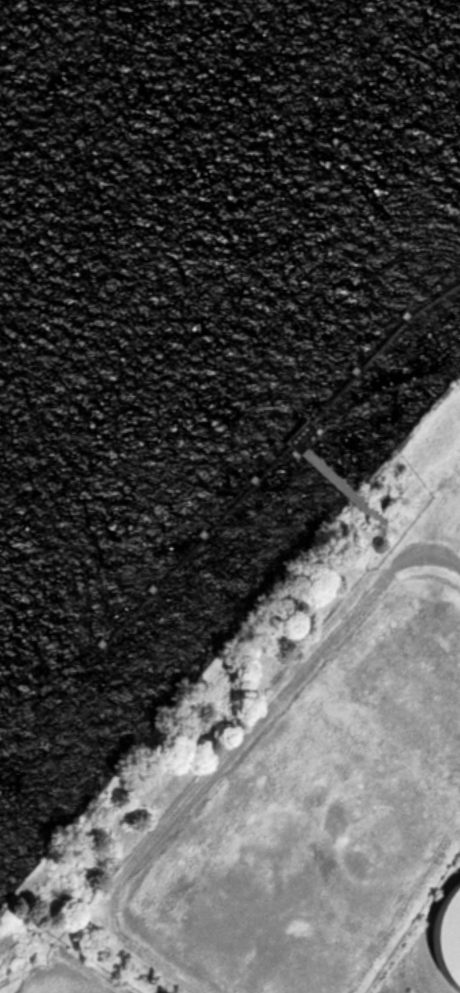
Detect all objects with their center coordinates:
pier: (394, 334)
pier: (313, 421)
pier: (333, 441)
pier: (325, 473)
pier: (205, 539)
power plant: (423, 939)

